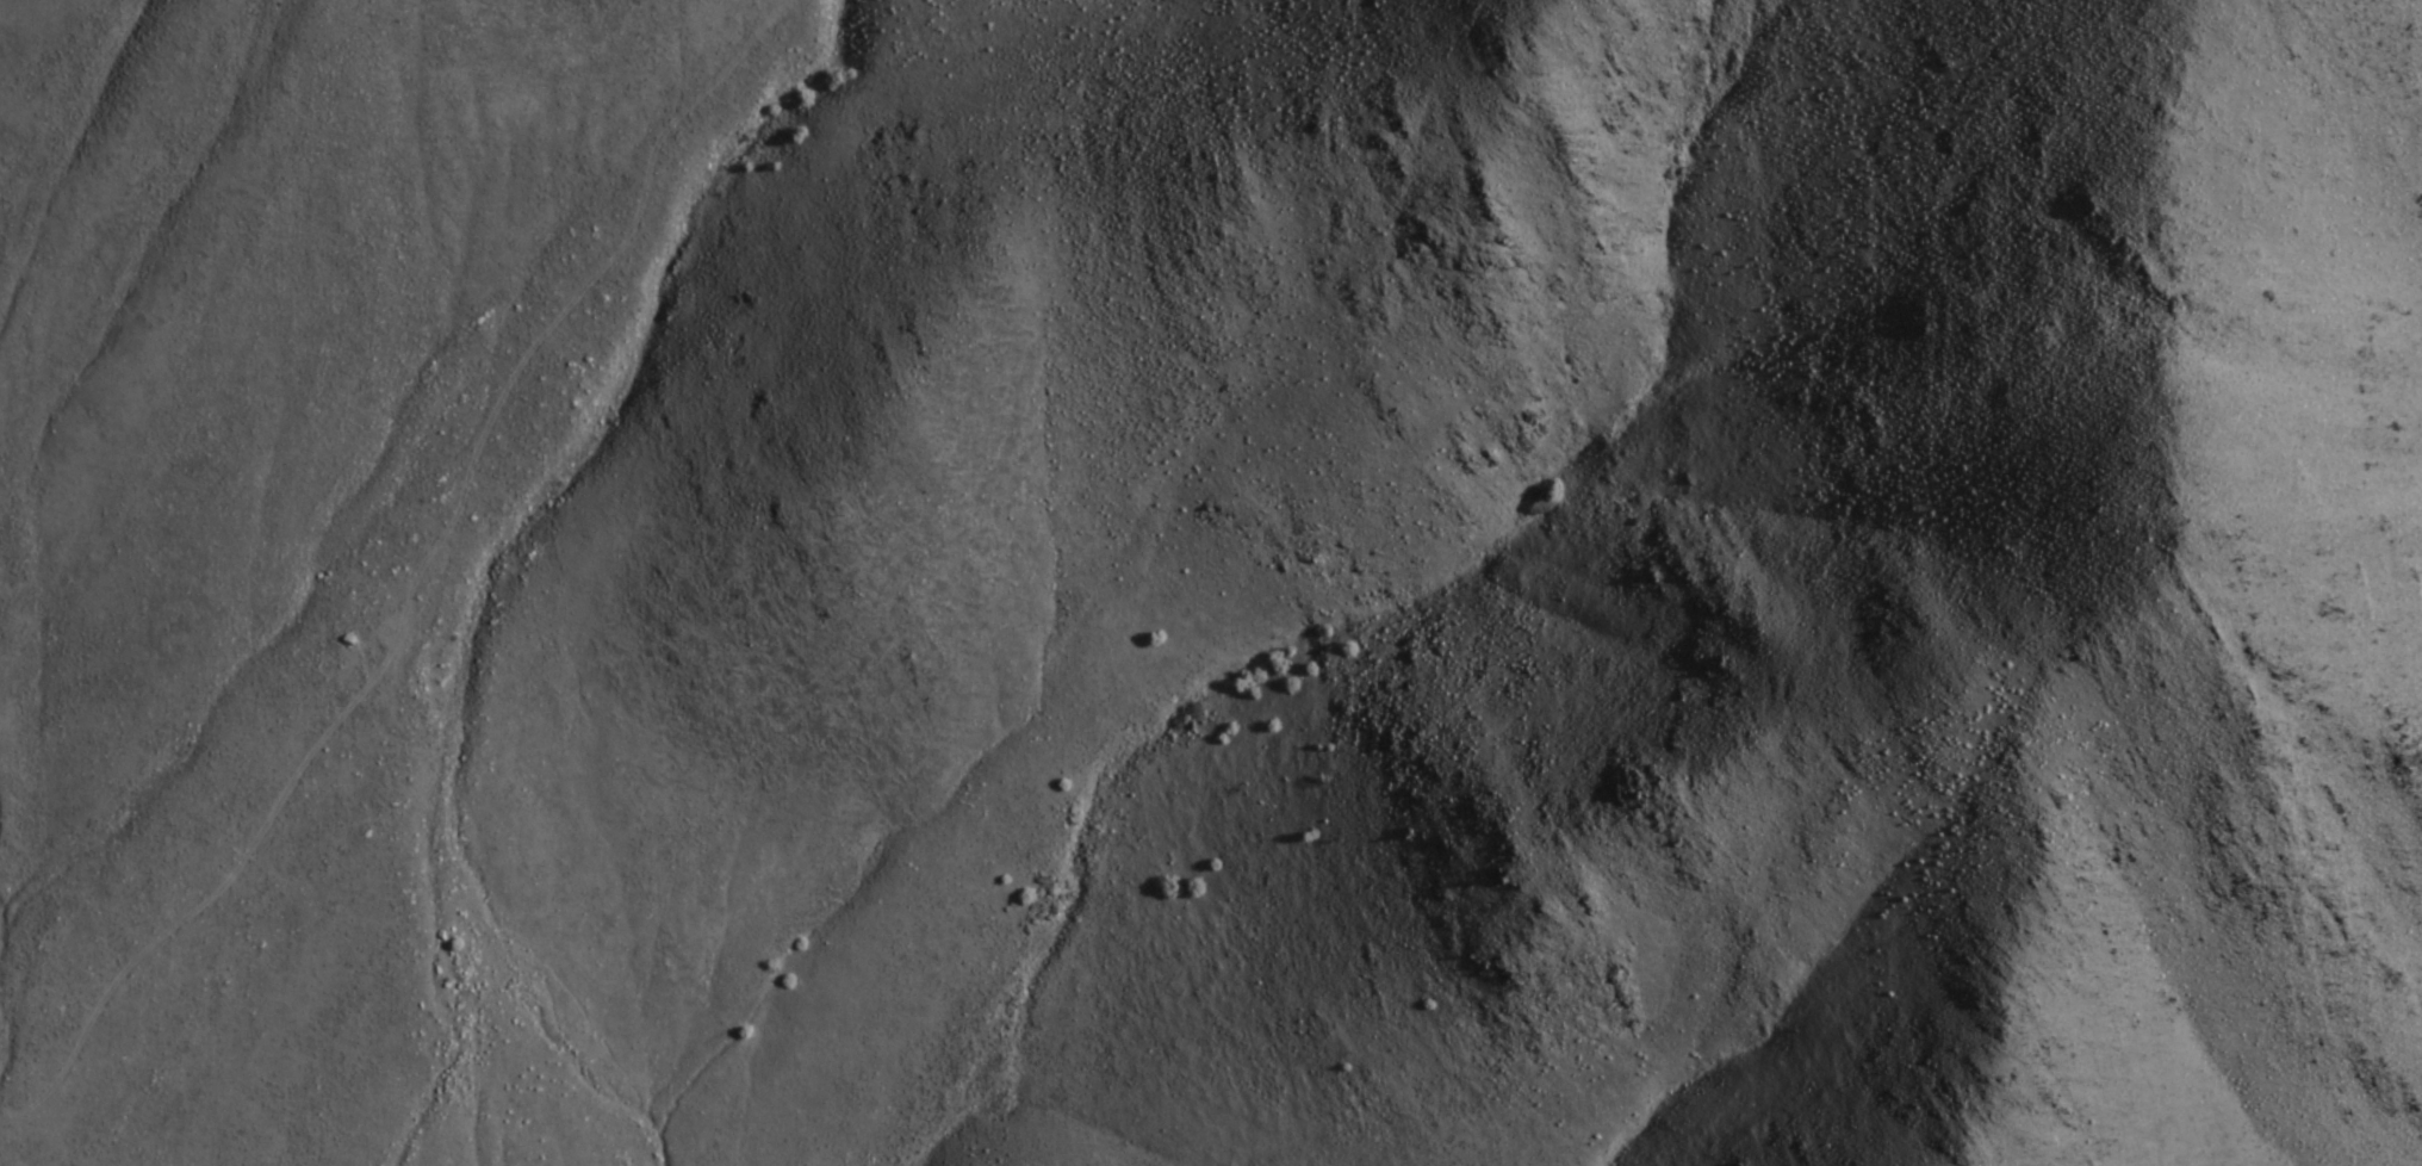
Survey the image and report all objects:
road: (387, 666)

